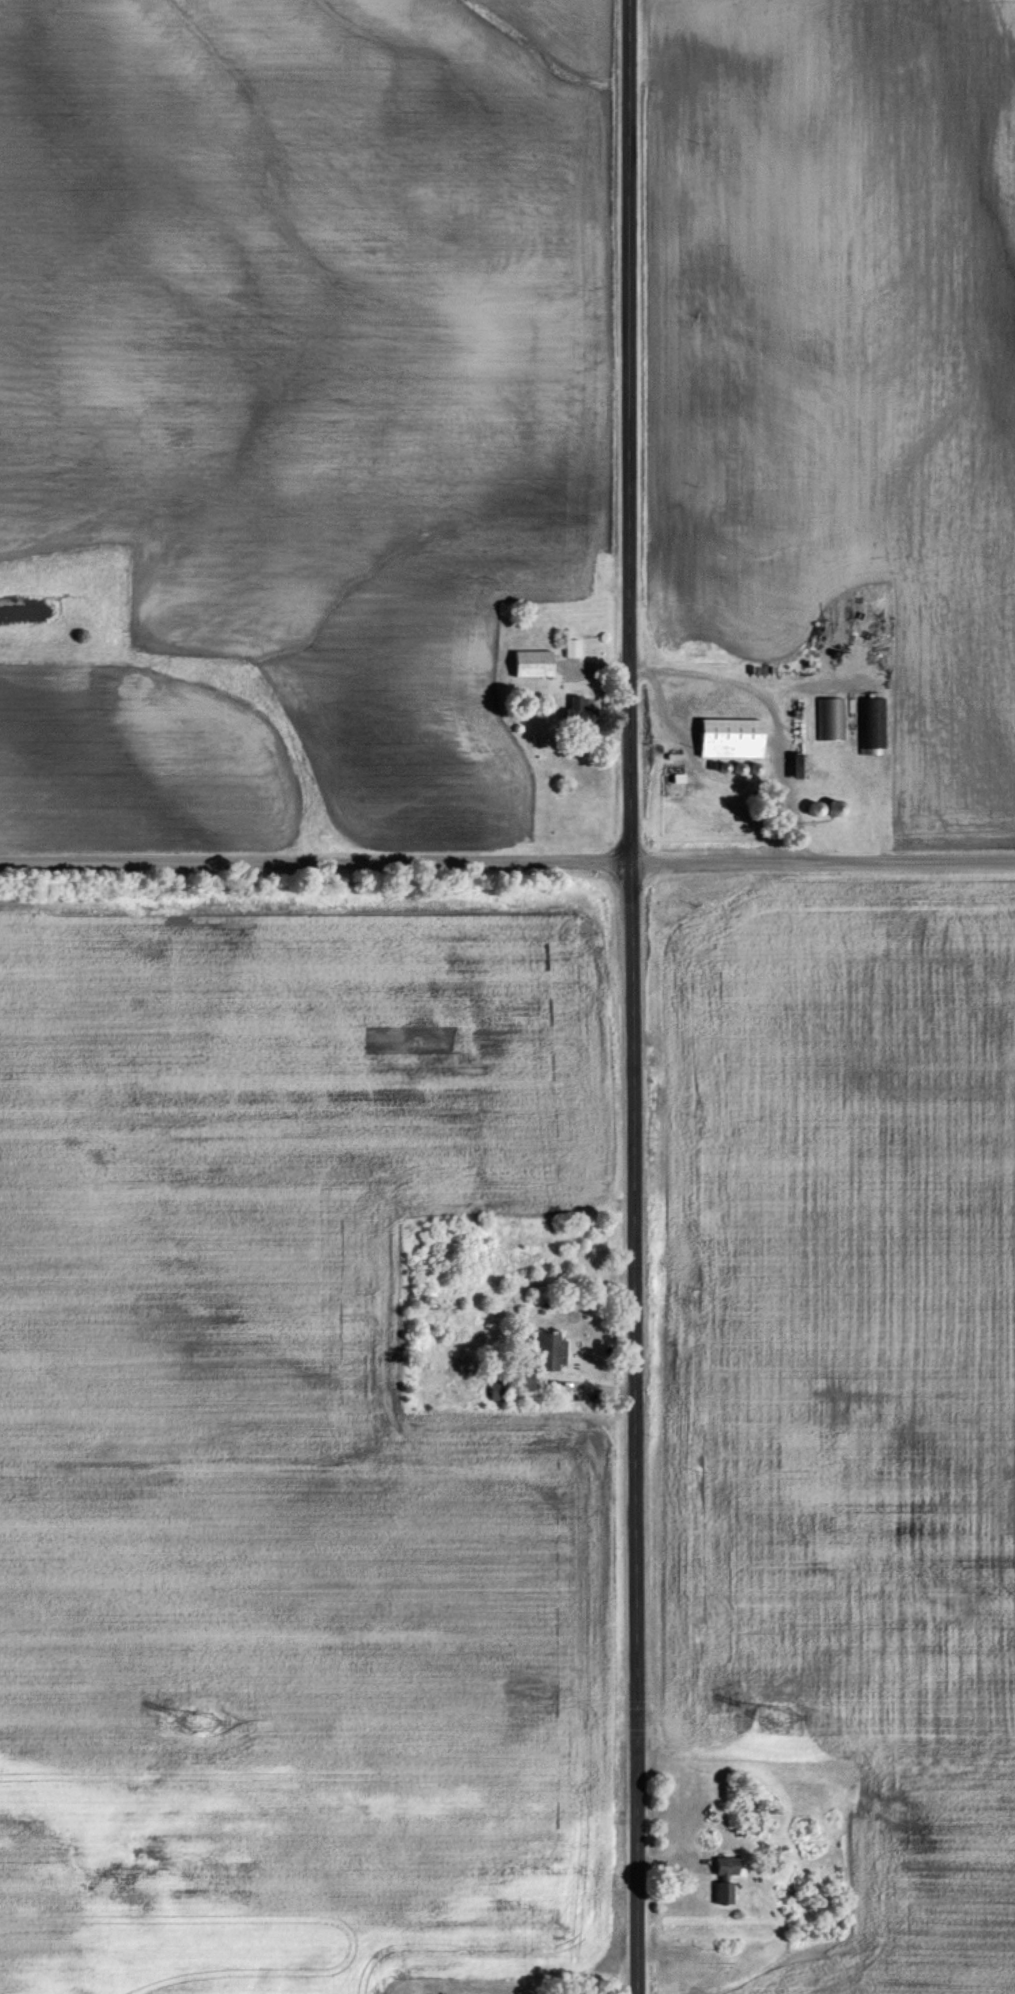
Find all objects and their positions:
building: (573, 647)
building: (536, 663)
building: (576, 707)
road: (765, 709)
building: (831, 717)
building: (734, 737)
road: (507, 864)
road: (625, 997)
building: (551, 1347)
building: (497, 1390)
power tower: (777, 1716)
power tower: (204, 1722)

